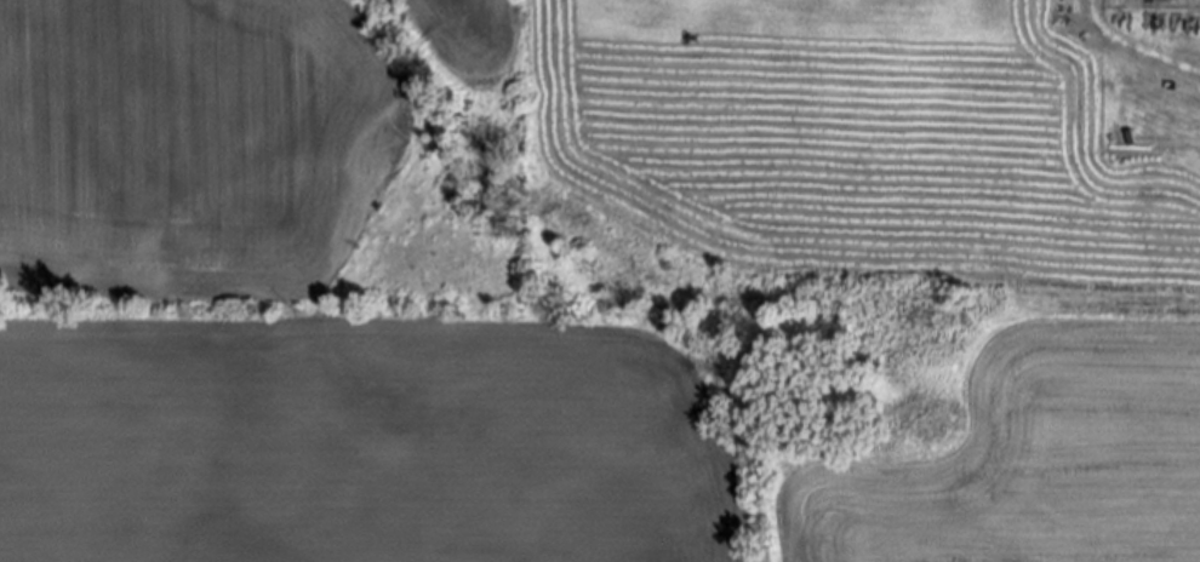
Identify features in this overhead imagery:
crop: (838, 132)
crop: (189, 147)
crop: (356, 443)
crop: (1032, 460)

